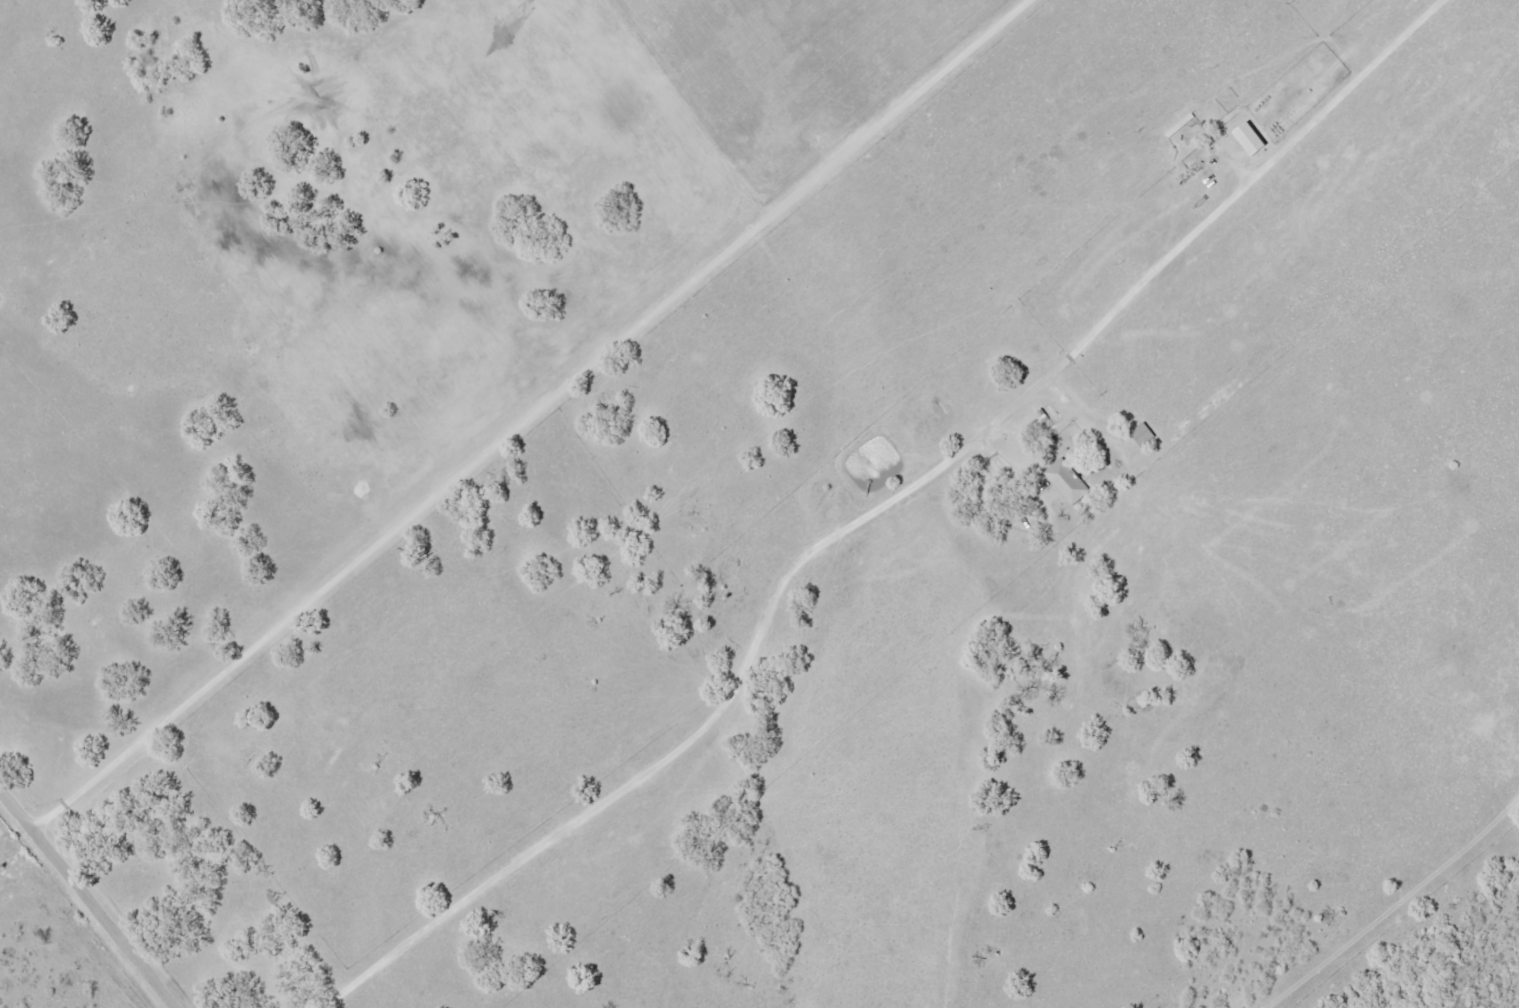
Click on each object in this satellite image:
building: (1253, 138)
road: (536, 415)
building: (1144, 433)
building: (1068, 480)
road: (879, 508)
road: (91, 895)

